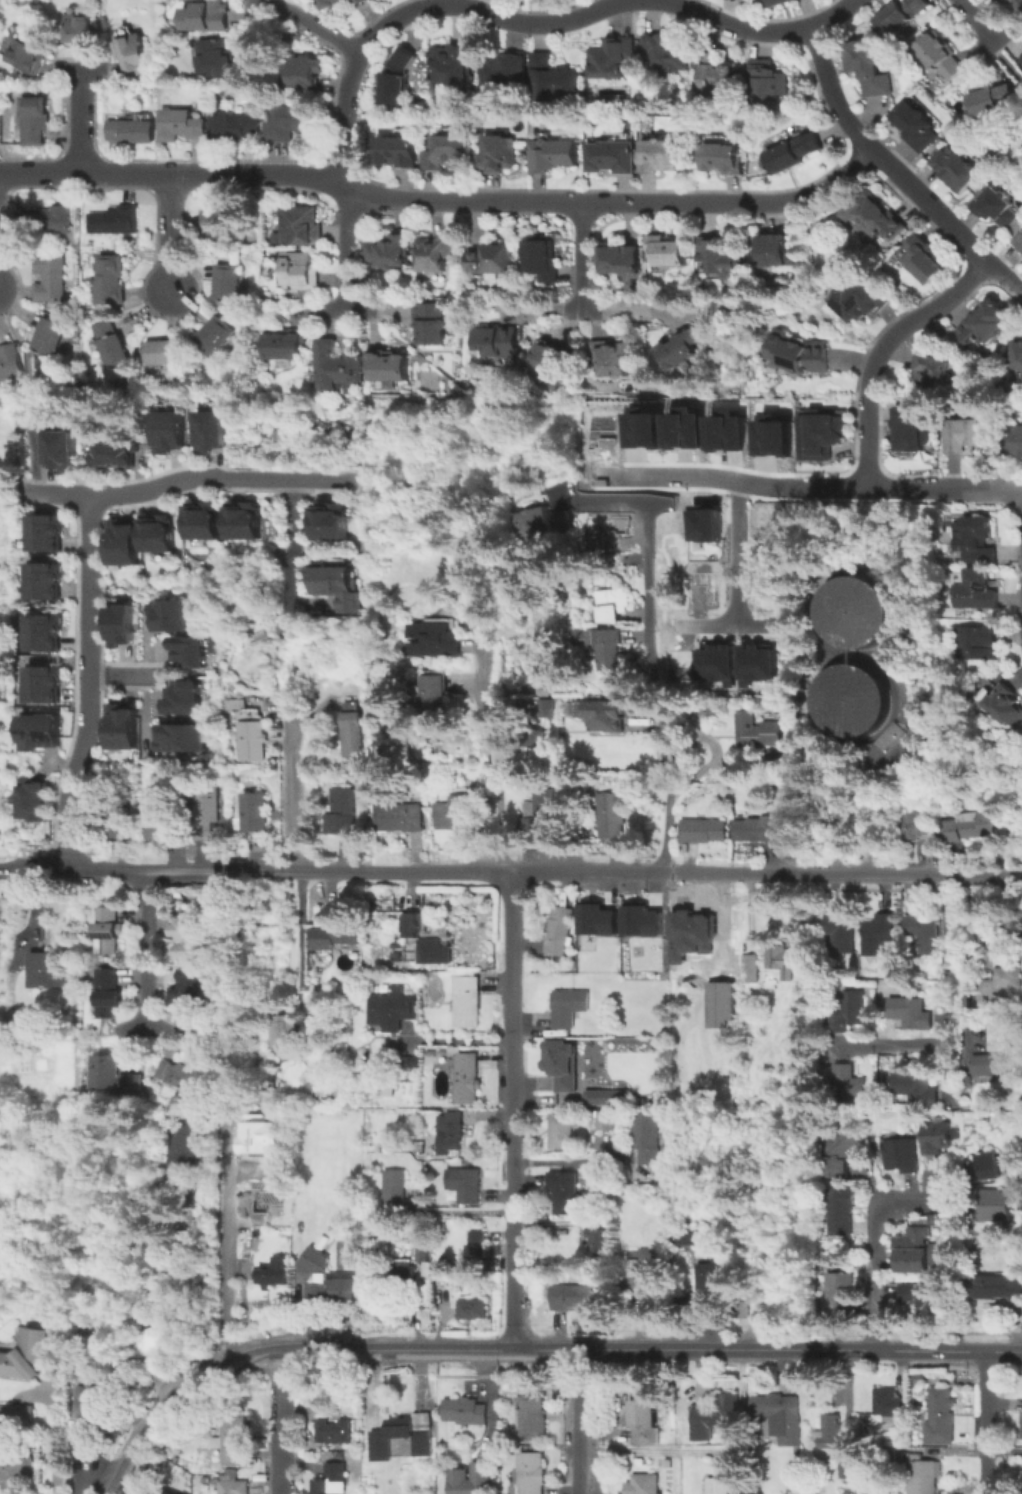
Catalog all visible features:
road: (426, 2)
building: (784, 3)
building: (340, 4)
building: (1016, 7)
road: (250, 12)
building: (904, 15)
building: (207, 17)
road: (305, 19)
road: (980, 20)
road: (757, 28)
building: (78, 29)
building: (133, 52)
building: (666, 55)
building: (25, 56)
building: (215, 58)
building: (940, 58)
building: (613, 59)
building: (1021, 60)
building: (404, 61)
building: (455, 65)
building: (868, 69)
building: (506, 72)
building: (718, 73)
building: (306, 74)
building: (553, 80)
building: (769, 81)
building: (392, 90)
building: (991, 101)
road: (86, 112)
building: (33, 119)
building: (292, 124)
building: (182, 127)
building: (918, 127)
building: (235, 128)
building: (133, 130)
building: (399, 152)
building: (446, 153)
building: (796, 154)
building: (498, 156)
building: (553, 156)
building: (611, 157)
building: (660, 157)
building: (723, 159)
building: (955, 170)
road: (893, 172)
road: (130, 175)
road: (572, 202)
building: (995, 209)
building: (877, 217)
building: (45, 219)
building: (115, 222)
building: (217, 224)
building: (300, 226)
road: (164, 243)
building: (1018, 243)
road: (341, 250)
building: (775, 251)
building: (389, 252)
building: (667, 252)
building: (436, 254)
building: (716, 256)
building: (621, 260)
building: (492, 261)
building: (543, 261)
building: (925, 261)
building: (302, 273)
building: (50, 278)
building: (112, 281)
road: (584, 282)
building: (230, 285)
building: (859, 302)
road: (339, 311)
road: (913, 317)
building: (434, 324)
building: (986, 324)
building: (49, 334)
building: (214, 337)
building: (499, 343)
building: (113, 344)
building: (287, 344)
building: (681, 349)
building: (166, 353)
building: (1017, 353)
building: (798, 355)
building: (551, 359)
building: (612, 359)
building: (9, 361)
building: (336, 367)
building: (389, 367)
building: (933, 370)
building: (911, 426)
building: (212, 428)
building: (171, 430)
building: (613, 430)
building: (652, 431)
building: (691, 431)
building: (731, 431)
building: (770, 431)
building: (820, 434)
road: (862, 436)
building: (964, 437)
building: (1014, 440)
building: (61, 451)
building: (115, 455)
road: (292, 478)
road: (767, 484)
road: (979, 487)
road: (122, 493)
road: (612, 501)
building: (205, 522)
building: (244, 522)
building: (332, 523)
building: (548, 523)
building: (703, 525)
building: (45, 533)
building: (159, 535)
road: (292, 538)
building: (976, 540)
building: (125, 543)
building: (617, 543)
road: (740, 551)
building: (45, 581)
building: (334, 585)
building: (701, 585)
building: (976, 592)
building: (620, 607)
building: (857, 611)
storage tank: (857, 611)
building: (174, 616)
road: (731, 624)
building: (123, 626)
building: (44, 633)
building: (438, 639)
building: (265, 641)
building: (974, 643)
building: (611, 648)
building: (192, 652)
building: (680, 660)
building: (718, 661)
building: (759, 661)
road: (119, 675)
road: (85, 682)
building: (42, 684)
road: (660, 687)
building: (549, 691)
building: (439, 698)
building: (186, 699)
building: (850, 699)
storage tank: (850, 699)
building: (553, 705)
building: (1004, 706)
building: (610, 707)
building: (124, 728)
building: (355, 729)
building: (41, 732)
building: (762, 732)
building: (252, 736)
building: (181, 739)
building: (540, 739)
road: (494, 751)
road: (291, 772)
building: (37, 801)
building: (839, 803)
building: (541, 808)
building: (343, 811)
building: (255, 813)
building: (461, 813)
building: (205, 814)
building: (404, 818)
building: (611, 820)
building: (162, 822)
building: (124, 825)
building: (919, 826)
building: (973, 829)
building: (704, 830)
building: (758, 830)
road: (510, 870)
road: (28, 917)
building: (595, 918)
building: (639, 920)
building: (412, 926)
building: (557, 932)
building: (880, 932)
building: (110, 933)
building: (840, 934)
building: (923, 935)
building: (709, 937)
building: (190, 938)
building: (335, 938)
road: (298, 942)
road: (146, 947)
building: (432, 952)
building: (785, 961)
building: (44, 967)
building: (750, 969)
building: (1008, 976)
building: (189, 988)
building: (112, 989)
building: (467, 1002)
building: (722, 1006)
building: (569, 1007)
road: (955, 1008)
building: (392, 1009)
building: (850, 1012)
building: (910, 1012)
road: (147, 1024)
building: (285, 1032)
road: (454, 1037)
building: (565, 1064)
building: (986, 1067)
building: (664, 1071)
building: (182, 1075)
building: (112, 1077)
building: (469, 1080)
building: (847, 1083)
building: (915, 1088)
building: (605, 1096)
road: (512, 1109)
building: (605, 1121)
building: (451, 1130)
building: (560, 1135)
building: (647, 1138)
building: (936, 1138)
building: (250, 1148)
building: (843, 1156)
building: (900, 1158)
building: (192, 1159)
road: (567, 1160)
building: (988, 1167)
building: (464, 1186)
building: (564, 1191)
building: (253, 1192)
building: (394, 1194)
building: (994, 1206)
building: (843, 1212)
building: (684, 1236)
building: (601, 1238)
building: (914, 1245)
road: (874, 1247)
building: (476, 1250)
building: (423, 1253)
road: (227, 1254)
building: (713, 1254)
building: (316, 1258)
building: (271, 1272)
building: (645, 1272)
building: (406, 1273)
building: (709, 1279)
road: (193, 1284)
building: (998, 1287)
building: (335, 1290)
building: (914, 1294)
building: (840, 1296)
building: (575, 1297)
building: (472, 1310)
building: (159, 1340)
building: (115, 1341)
road: (515, 1348)
road: (1004, 1350)
building: (26, 1354)
building: (890, 1402)
road: (489, 1407)
building: (466, 1412)
building: (643, 1414)
building: (943, 1414)
building: (16, 1416)
building: (532, 1417)
building: (781, 1417)
building: (90, 1419)
road: (575, 1420)
building: (714, 1420)
road: (279, 1422)
road: (986, 1422)
building: (1021, 1428)
building: (332, 1431)
road: (48, 1432)
building: (830, 1433)
building: (402, 1438)
building: (234, 1441)
road: (945, 1448)
building: (850, 1460)
building: (15, 1463)
building: (533, 1472)
building: (483, 1476)
building: (921, 1476)
building: (719, 1484)
building: (645, 1485)
building: (234, 1487)
building: (327, 1487)
building: (736, 1487)
building: (168, 1492)

